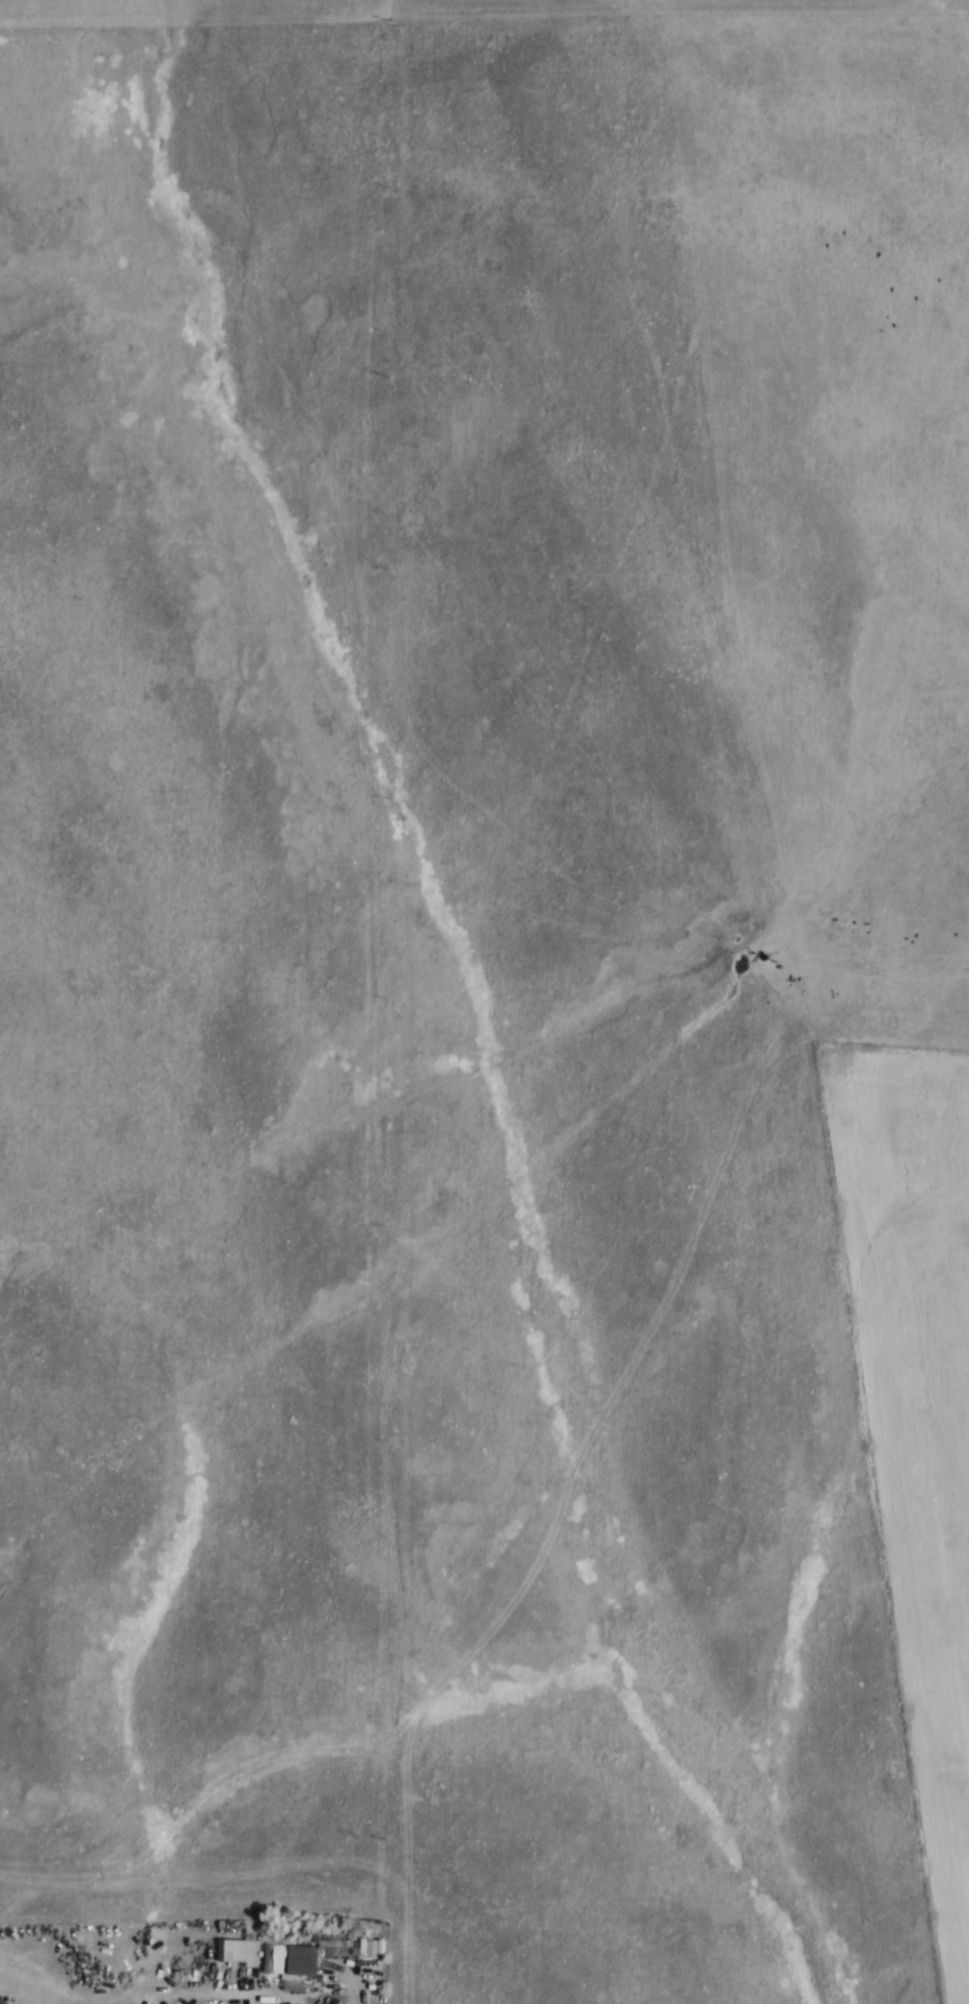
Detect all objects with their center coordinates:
building: (237, 1953)
building: (290, 1961)
road: (349, 1982)

